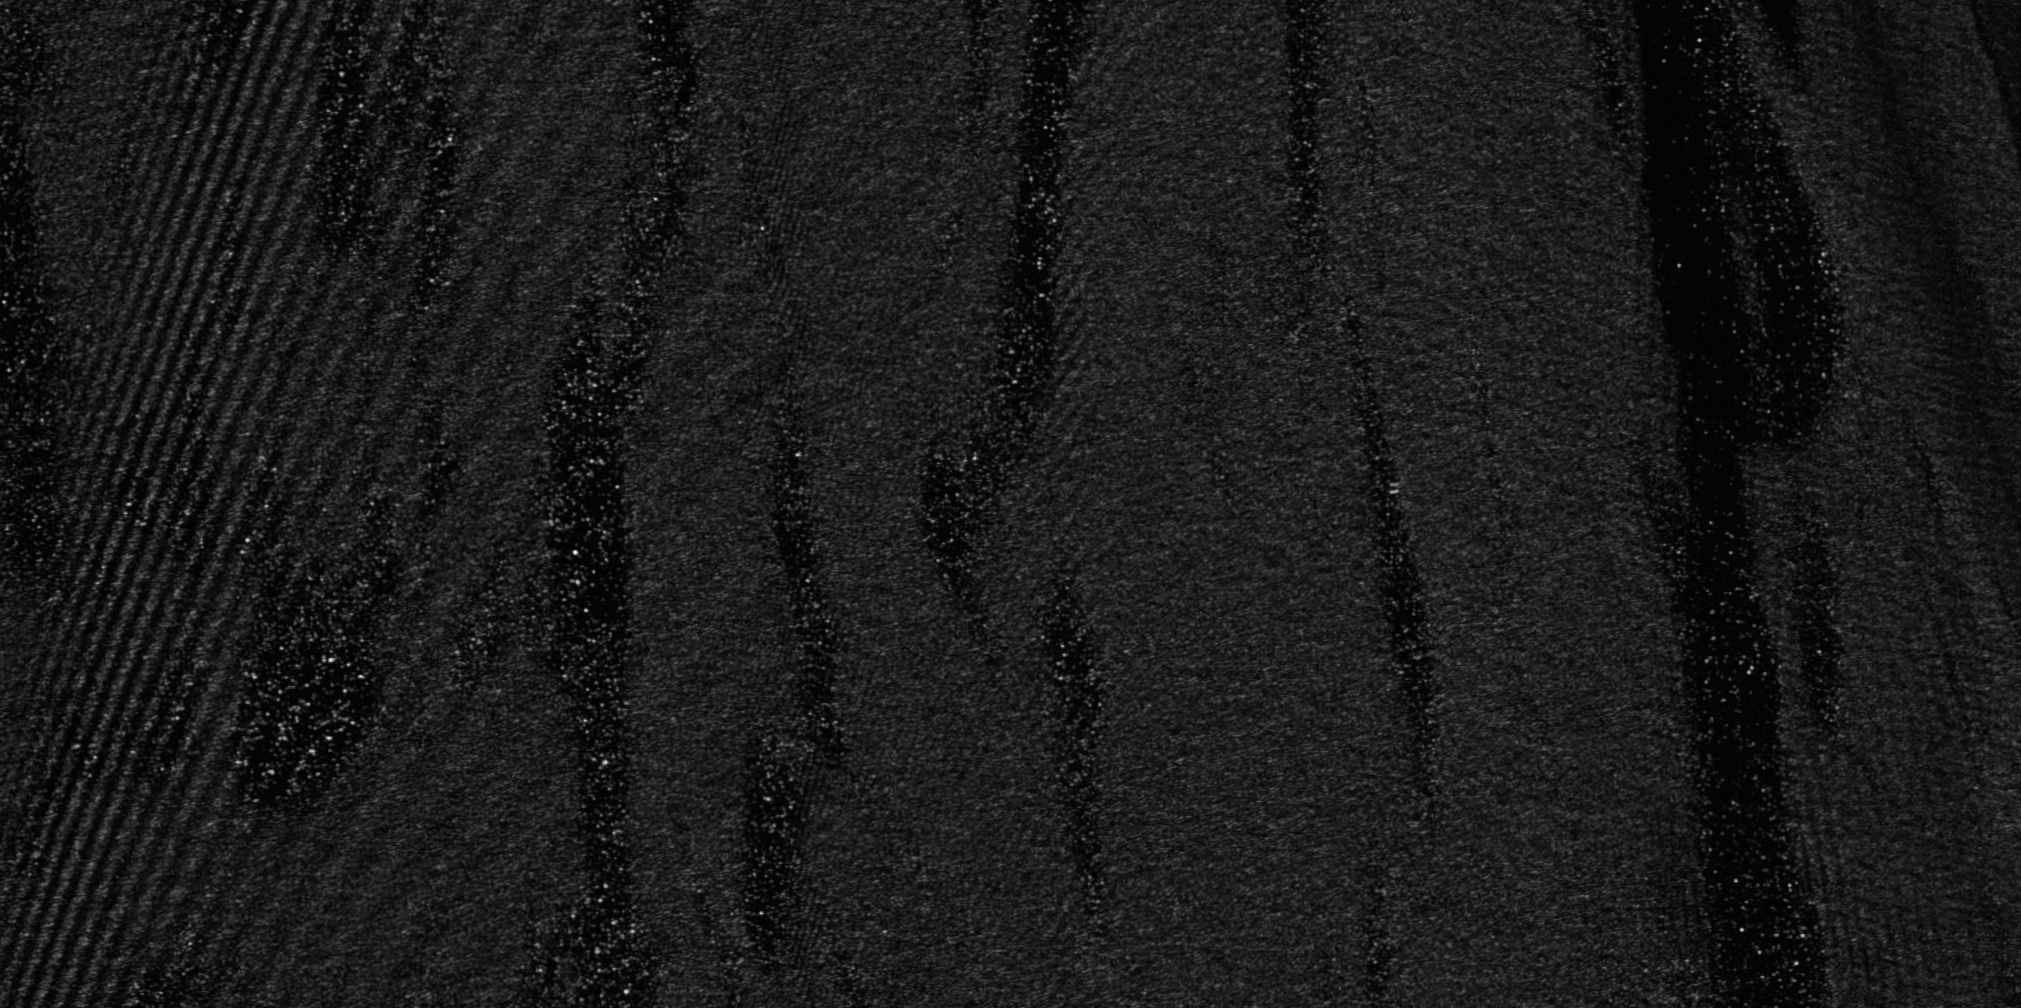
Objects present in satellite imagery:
park: (2016, 14)

